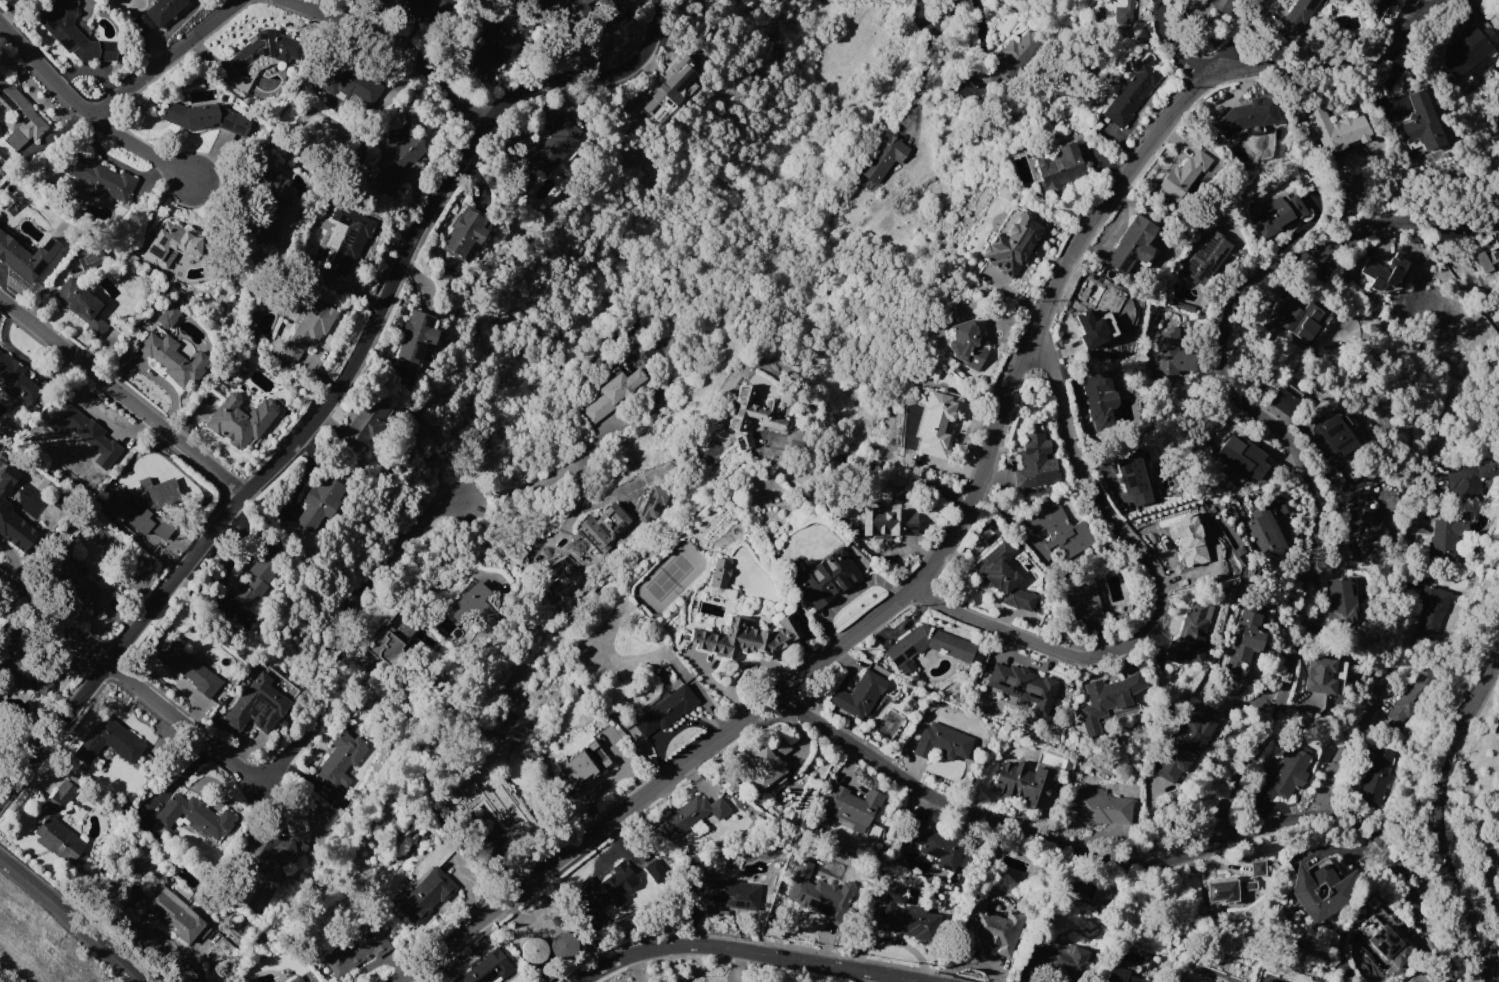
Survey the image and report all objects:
building: (1339, 0)
building: (1224, 6)
building: (420, 8)
building: (573, 9)
building: (164, 10)
building: (1124, 12)
building: (1296, 17)
building: (141, 25)
road: (937, 29)
building: (74, 34)
road: (1239, 34)
road: (1173, 39)
building: (491, 46)
building: (265, 49)
road: (396, 49)
building: (1466, 50)
road: (168, 58)
building: (1009, 60)
road: (921, 78)
building: (350, 83)
building: (668, 92)
building: (1131, 94)
road: (94, 109)
building: (18, 115)
building: (1247, 115)
building: (199, 116)
building: (1420, 122)
building: (1338, 129)
building: (555, 145)
building: (400, 146)
building: (883, 156)
building: (1061, 167)
building: (1184, 174)
building: (100, 176)
building: (272, 207)
building: (1279, 214)
building: (465, 233)
building: (347, 238)
building: (171, 244)
building: (1012, 245)
building: (1132, 245)
building: (27, 255)
building: (1205, 259)
building: (1487, 259)
building: (1387, 274)
building: (81, 305)
building: (167, 316)
building: (1084, 316)
building: (1300, 319)
building: (310, 326)
building: (1098, 331)
building: (416, 336)
building: (966, 346)
building: (1172, 354)
building: (174, 359)
building: (241, 371)
building: (15, 377)
road: (343, 383)
building: (613, 393)
building: (1099, 395)
road: (121, 397)
building: (1285, 399)
building: (751, 415)
building: (240, 420)
building: (937, 420)
building: (364, 423)
road: (1276, 431)
building: (85, 433)
building: (1331, 436)
building: (1246, 460)
building: (1036, 461)
building: (157, 467)
building: (1132, 475)
road: (545, 477)
building: (1470, 479)
building: (1, 483)
building: (157, 492)
road: (969, 499)
building: (652, 502)
building: (320, 503)
building: (128, 510)
building: (888, 522)
building: (161, 528)
building: (17, 529)
building: (1055, 530)
building: (1264, 530)
building: (599, 531)
building: (1365, 531)
building: (1446, 539)
building: (1184, 544)
building: (719, 572)
building: (260, 576)
building: (828, 576)
building: (1004, 577)
building: (78, 583)
road: (1161, 597)
building: (466, 600)
building: (1085, 601)
building: (1341, 603)
building: (1433, 608)
building: (1192, 634)
building: (392, 638)
building: (747, 638)
building: (1246, 641)
building: (927, 647)
building: (20, 662)
road: (1386, 664)
building: (187, 666)
building: (1318, 675)
building: (1021, 681)
building: (860, 695)
building: (1412, 698)
building: (1109, 701)
building: (257, 705)
building: (666, 710)
building: (109, 741)
building: (942, 742)
building: (1184, 747)
building: (342, 759)
building: (764, 763)
building: (581, 764)
building: (1287, 773)
road: (273, 776)
building: (1376, 776)
road: (176, 782)
building: (1023, 782)
building: (492, 802)
building: (852, 809)
building: (1103, 809)
building: (192, 815)
building: (691, 815)
road: (1436, 819)
building: (59, 826)
building: (936, 845)
building: (270, 849)
road: (1143, 864)
building: (1259, 868)
building: (655, 869)
building: (607, 887)
building: (723, 889)
building: (1227, 889)
building: (1319, 889)
building: (819, 894)
building: (425, 895)
building: (905, 916)
building: (175, 917)
road: (71, 920)
building: (992, 925)
building: (563, 946)
building: (1391, 946)
building: (355, 949)
building: (533, 950)
road: (758, 952)
water tower: (566, 953)
water tower: (539, 959)
building: (1062, 959)
building: (487, 969)
building: (1120, 976)
building: (296, 979)
building: (1263, 981)

